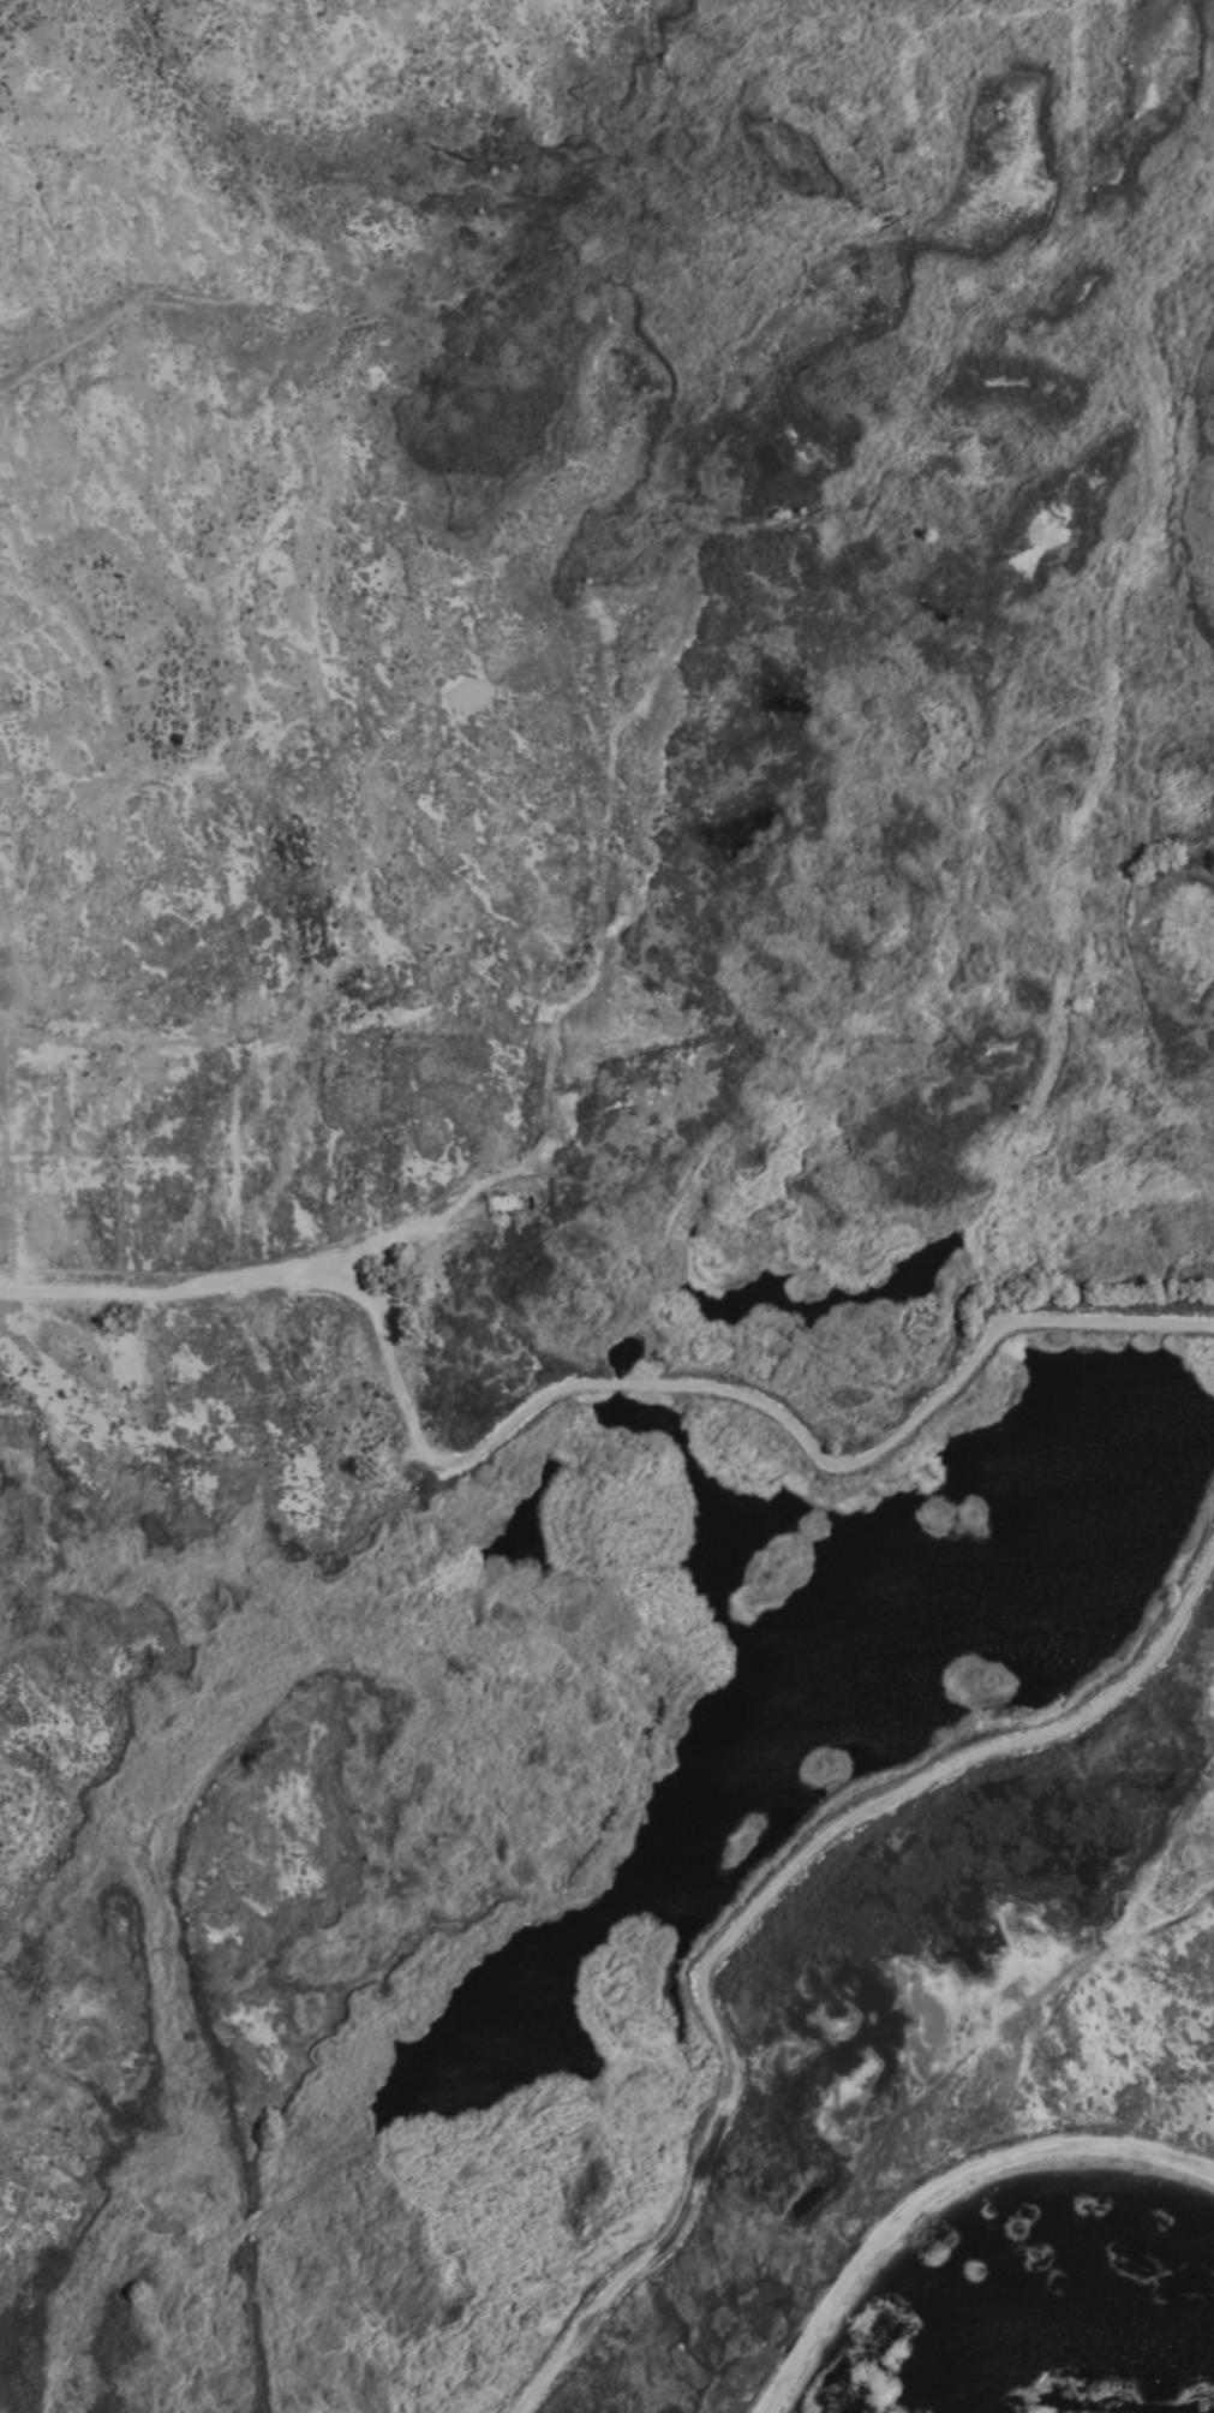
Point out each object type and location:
road: (935, 2185)

